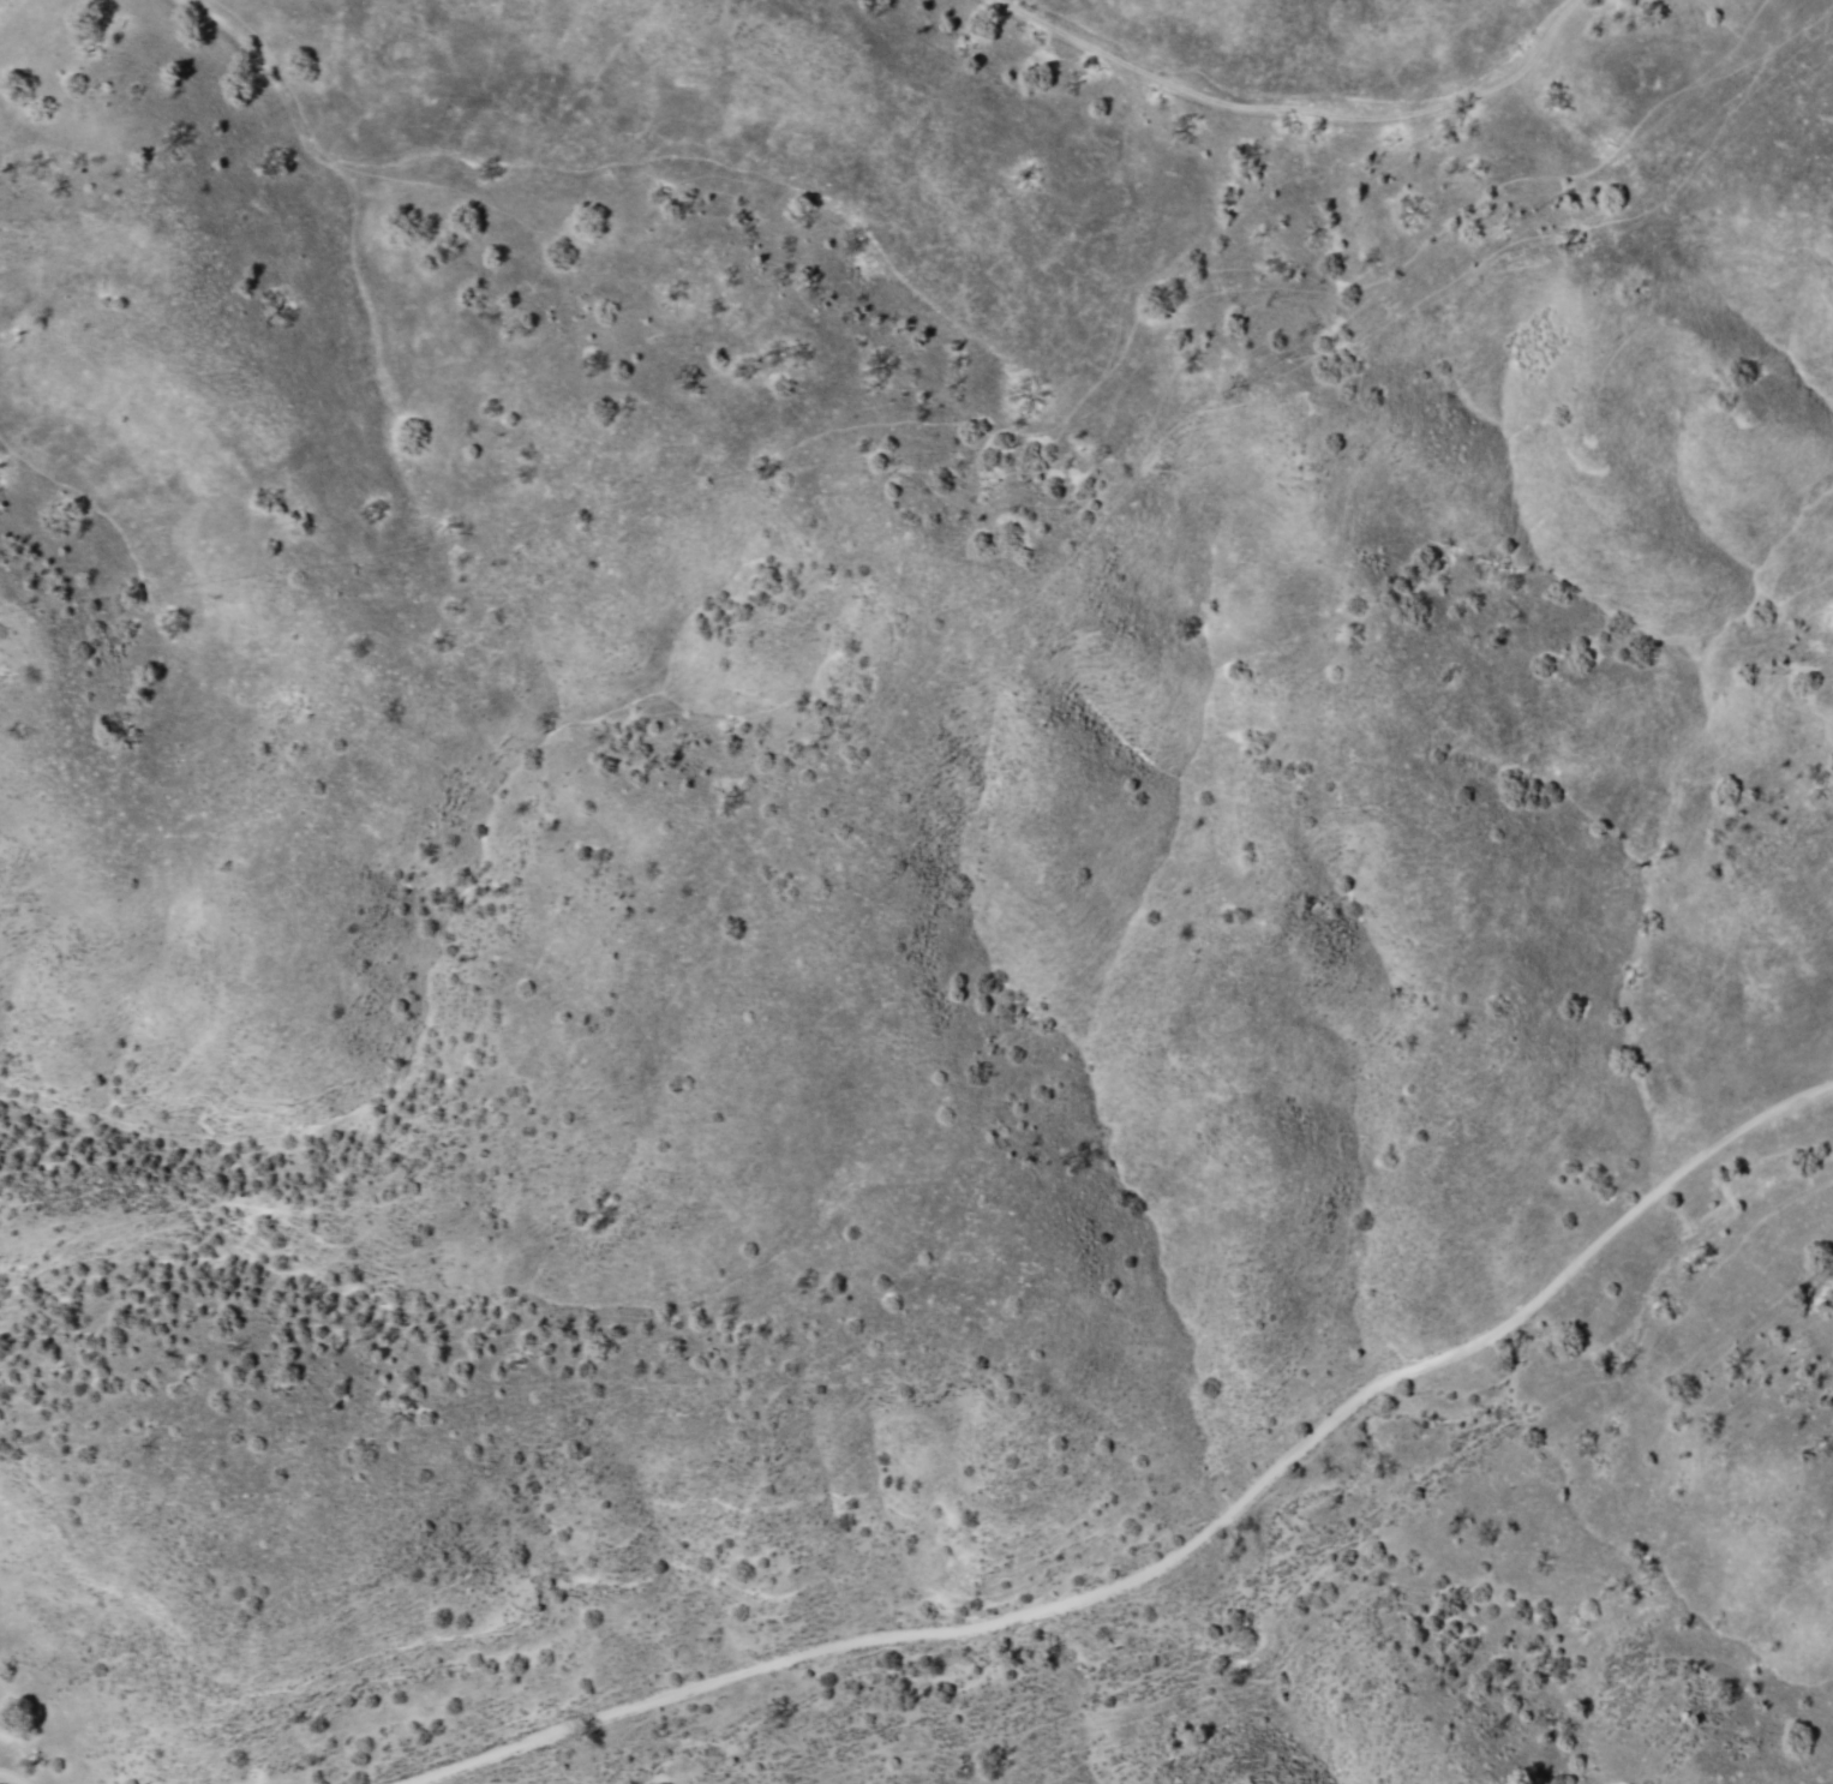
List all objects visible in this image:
road: (1301, 110)
road: (1175, 1551)

